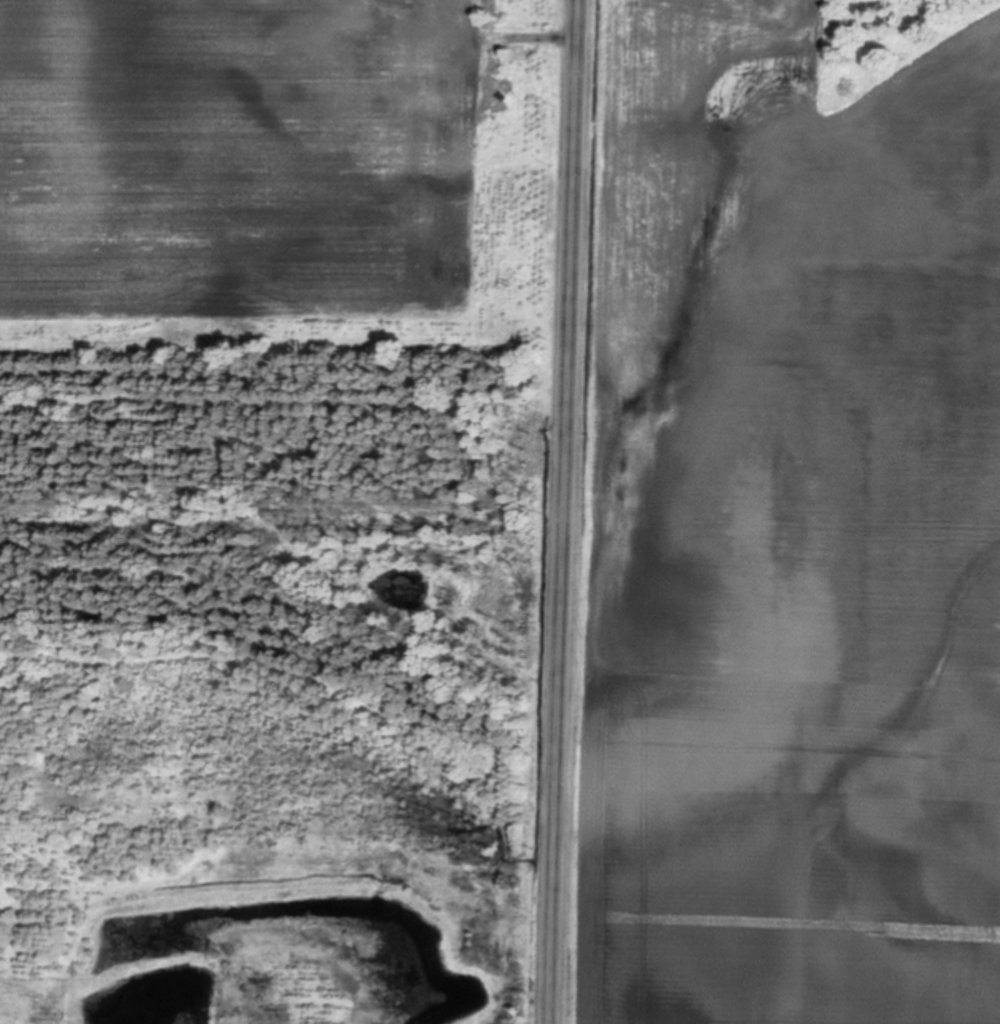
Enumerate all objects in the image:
road: (563, 511)

